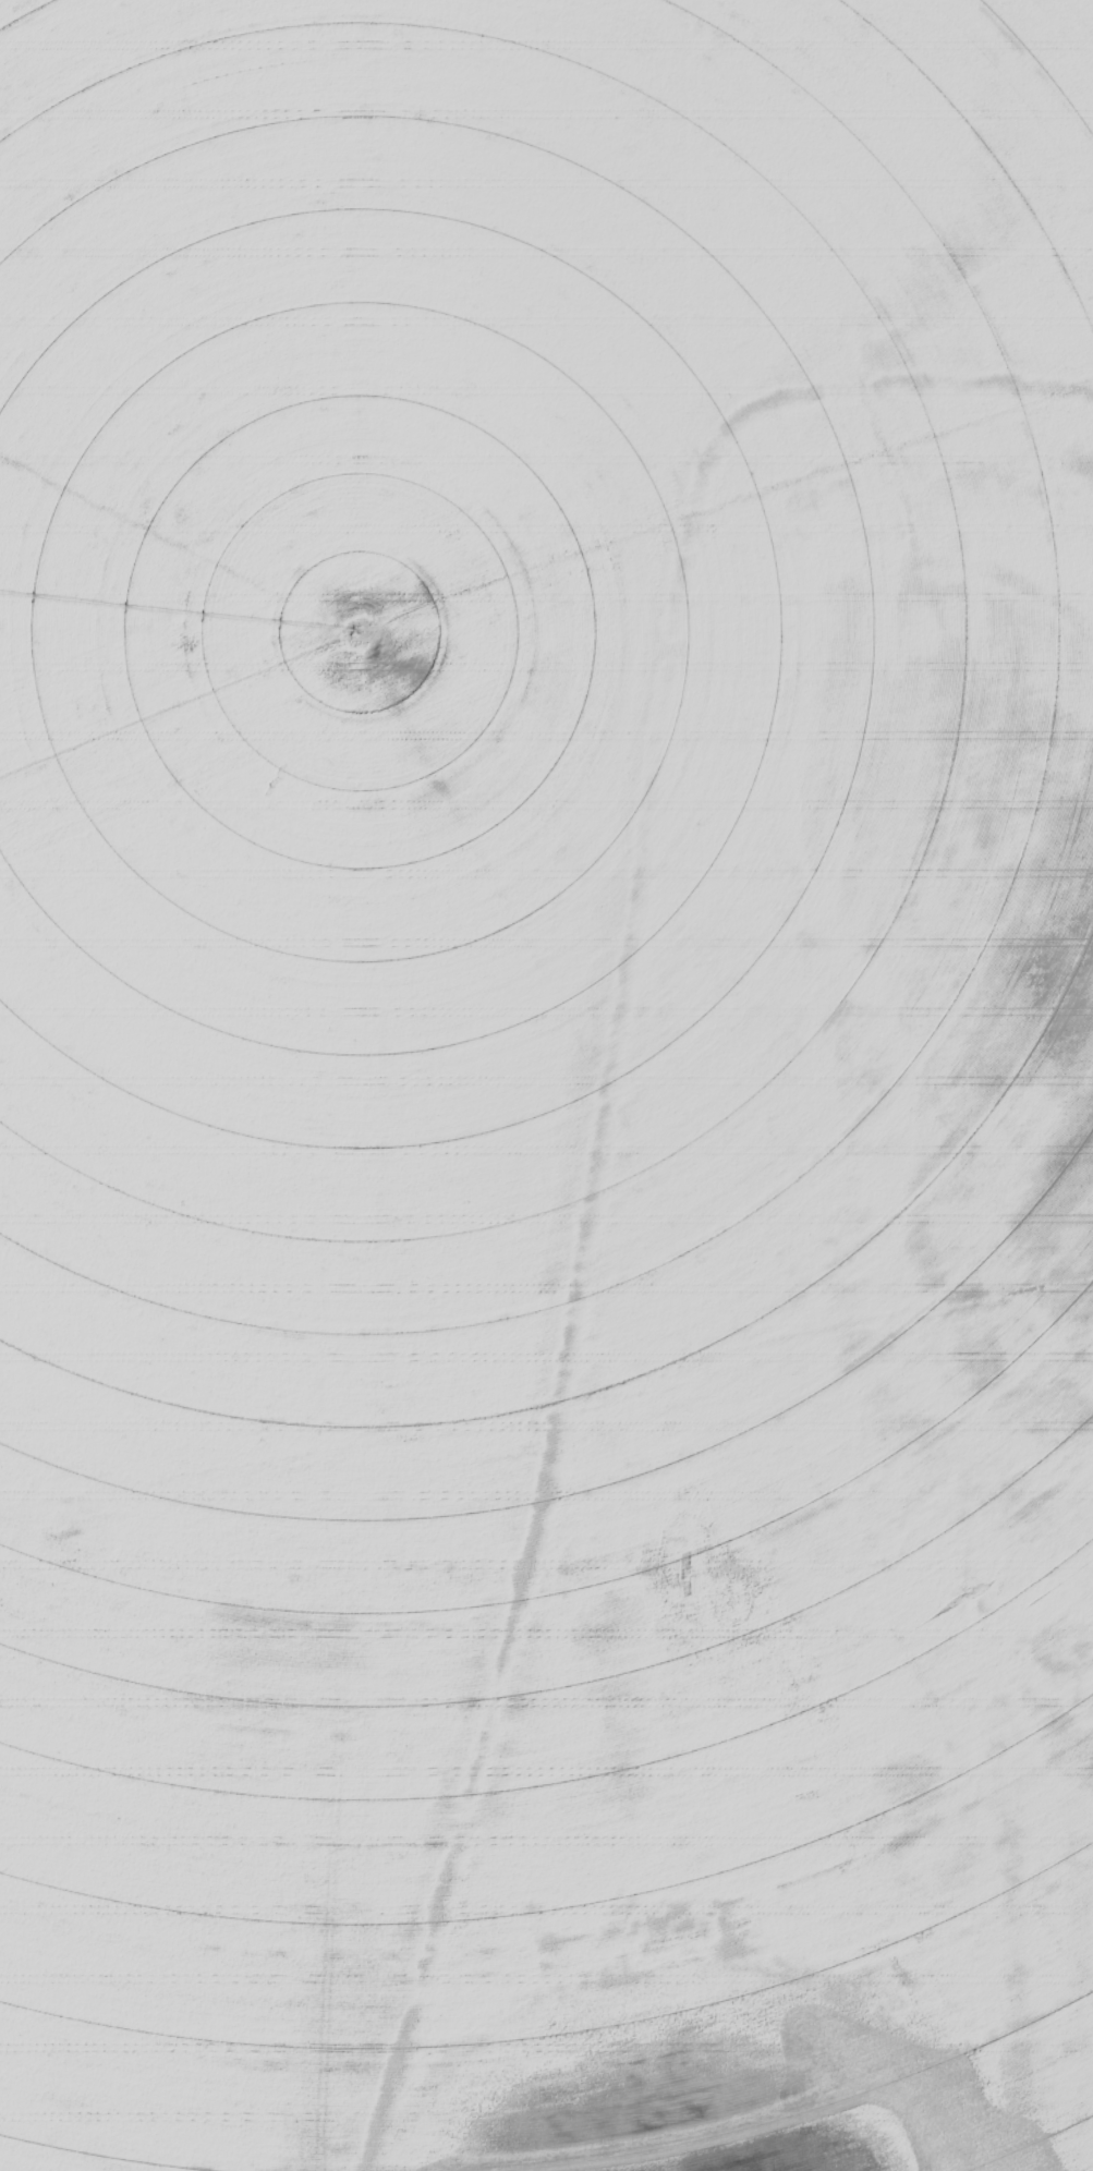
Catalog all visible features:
road: (410, 2059)

